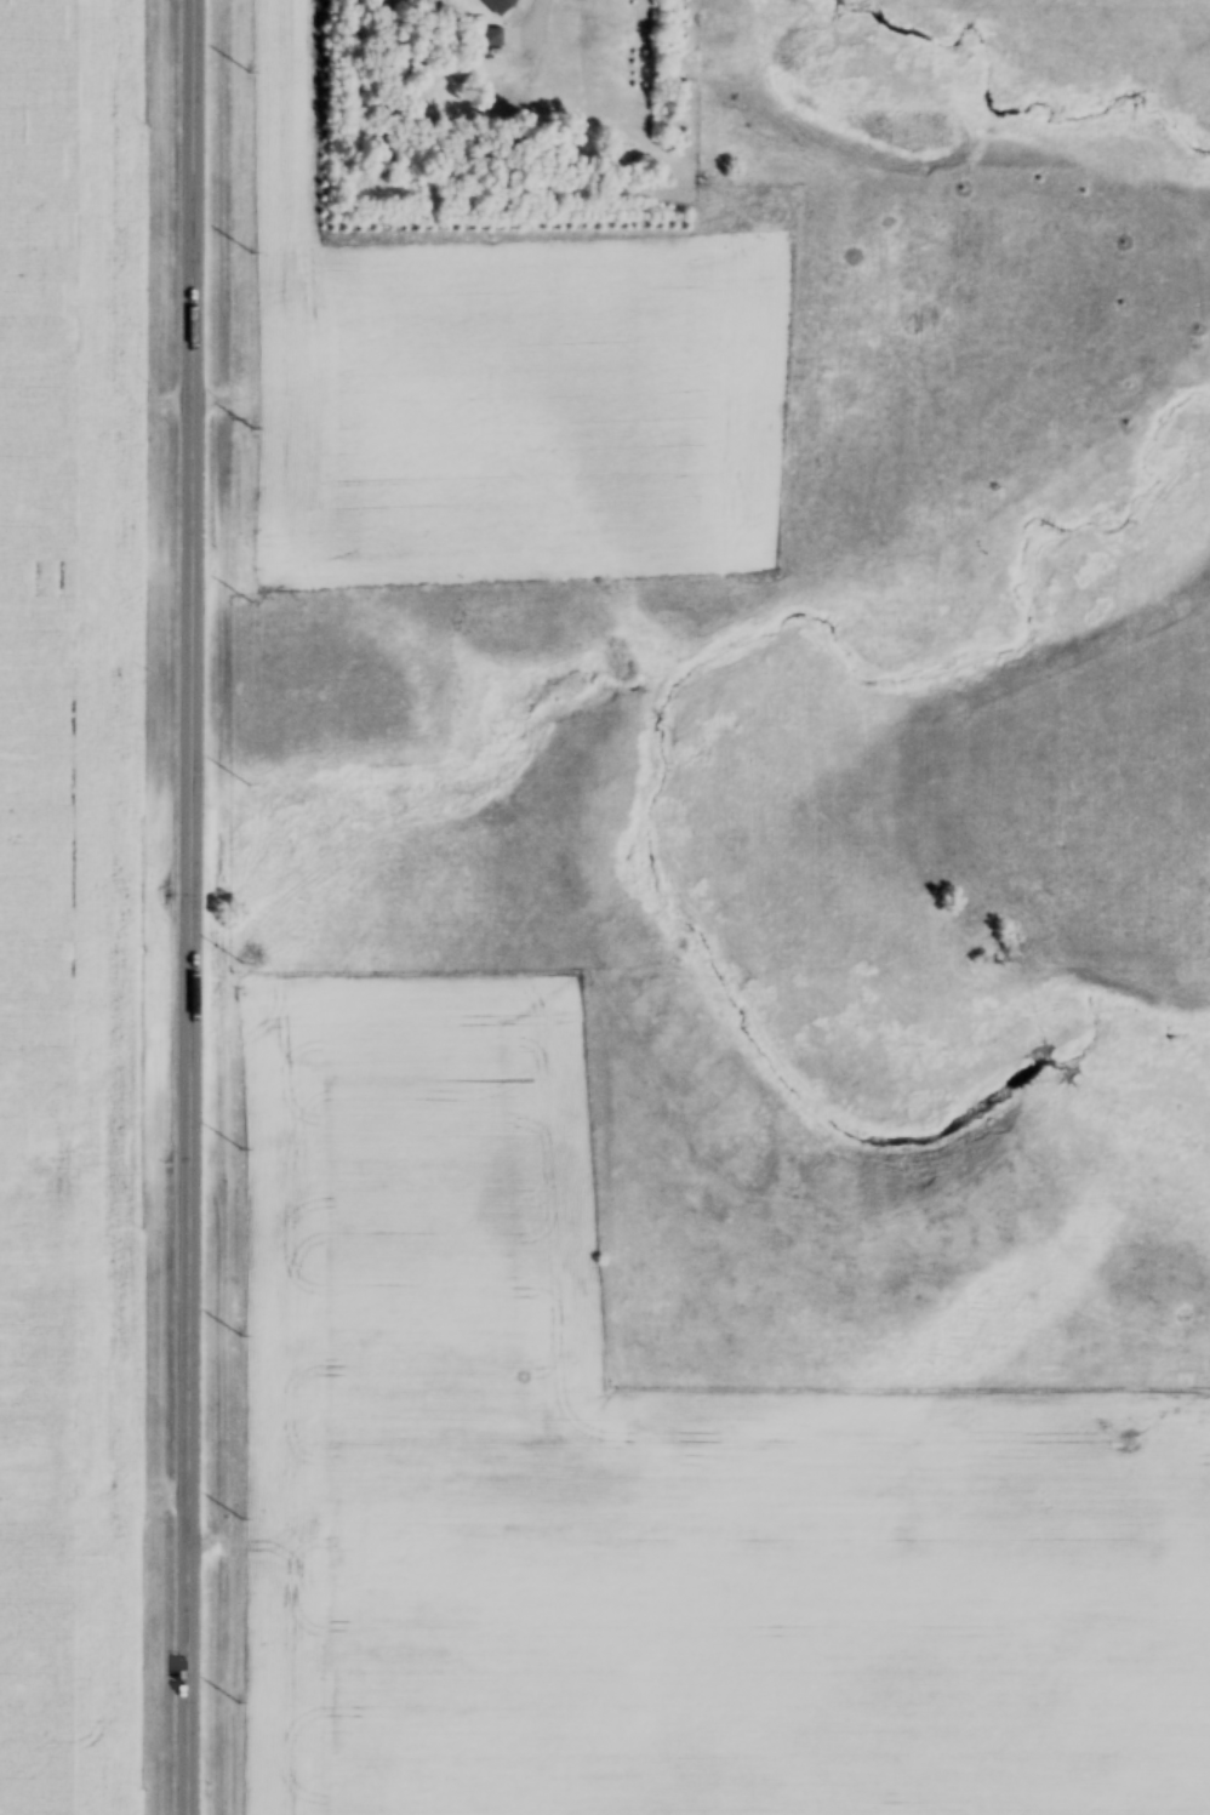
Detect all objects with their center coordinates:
building: (495, 38)
road: (199, 907)

